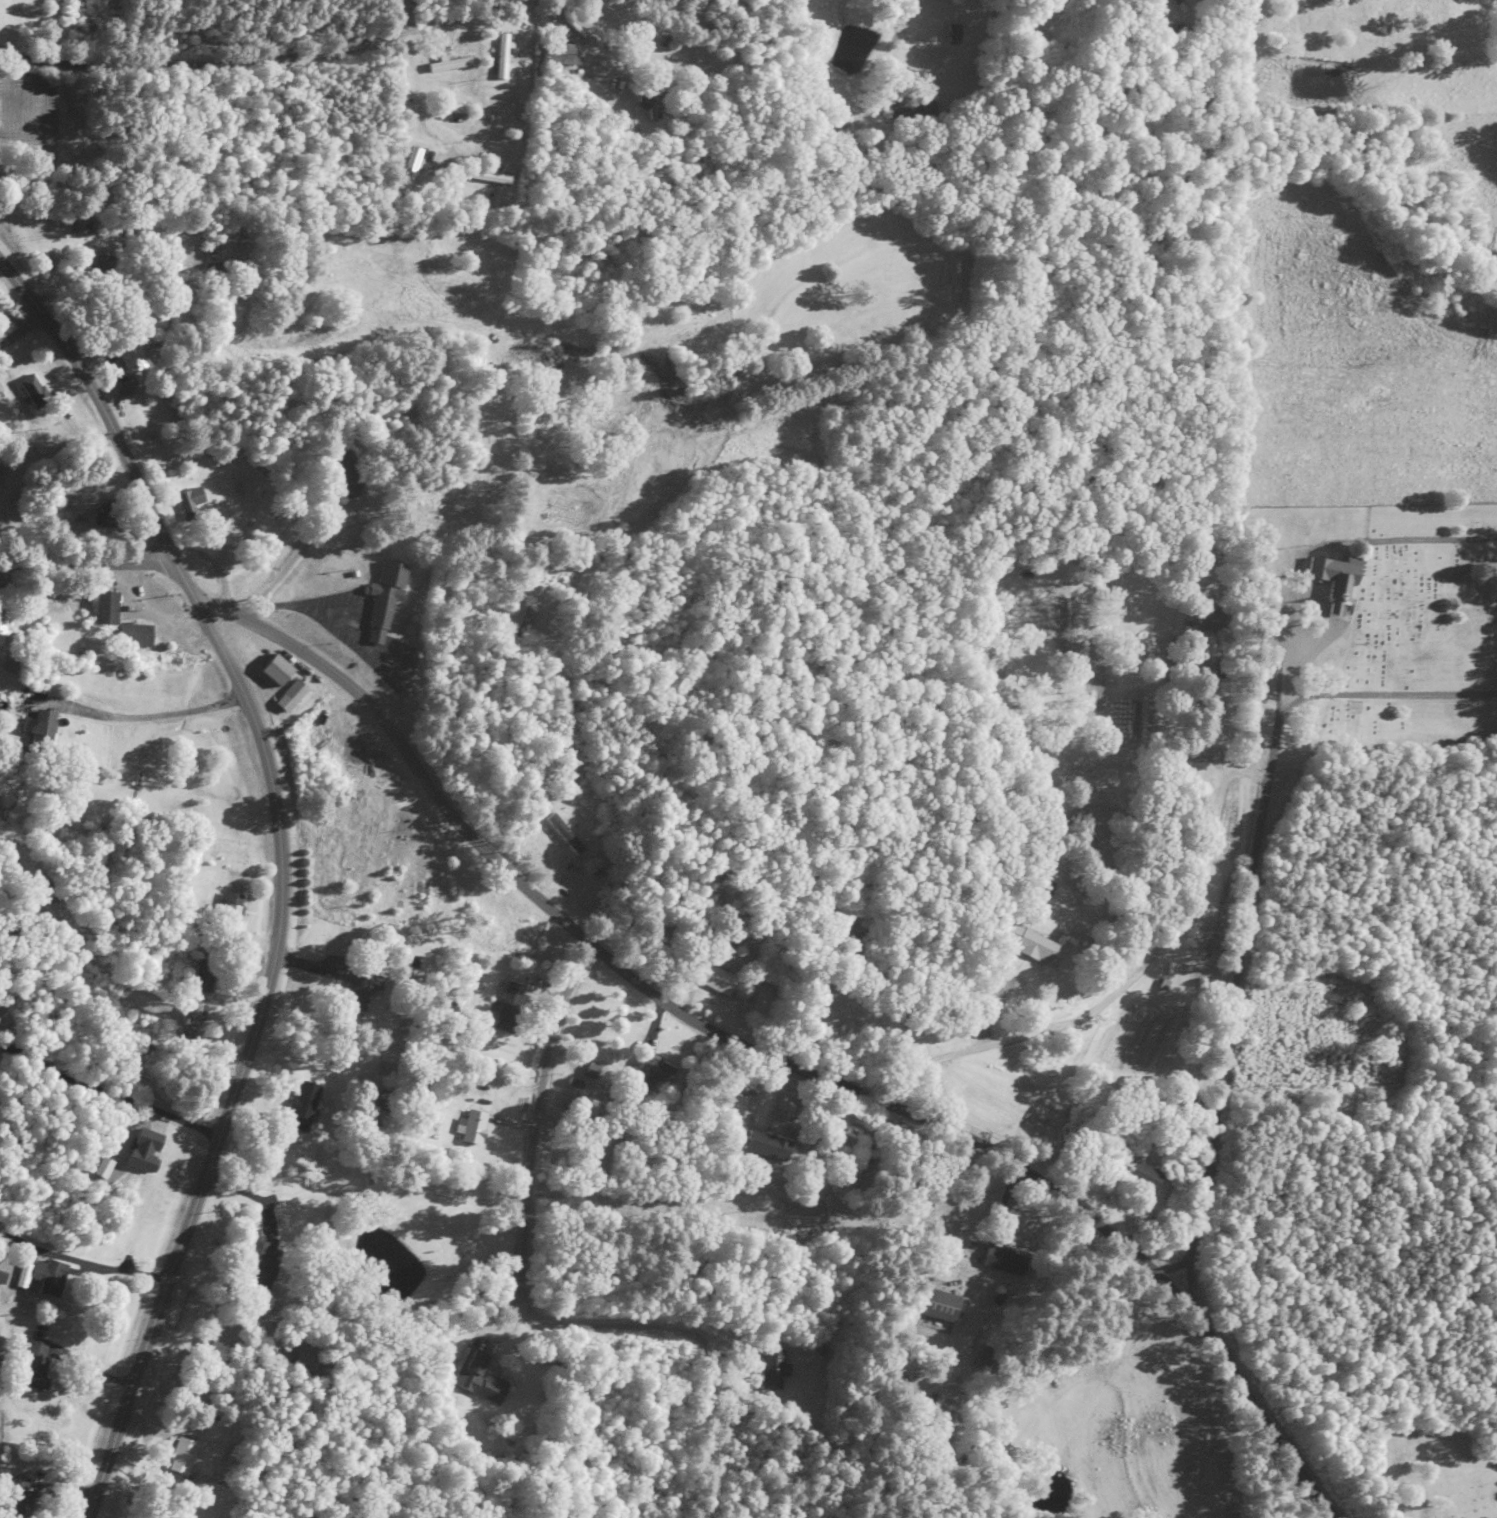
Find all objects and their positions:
road: (748, 49)
building: (562, 56)
building: (449, 73)
building: (651, 107)
building: (87, 226)
building: (105, 270)
building: (216, 274)
building: (133, 360)
building: (34, 392)
road: (101, 411)
building: (349, 475)
building: (193, 505)
building: (110, 516)
road: (84, 551)
building: (588, 580)
building: (1337, 580)
building: (385, 597)
building: (107, 609)
road: (706, 621)
road: (720, 624)
building: (137, 636)
building: (279, 671)
building: (296, 691)
building: (44, 724)
road: (559, 789)
road: (60, 810)
building: (570, 829)
building: (593, 871)
road: (1496, 887)
road: (1107, 889)
building: (435, 895)
building: (235, 909)
road: (1219, 924)
building: (1031, 945)
building: (717, 980)
building: (202, 983)
building: (360, 990)
building: (511, 1009)
building: (191, 1018)
road: (776, 1035)
building: (304, 1107)
building: (728, 1114)
building: (475, 1129)
building: (770, 1147)
building: (1147, 1176)
road: (1164, 1239)
building: (1006, 1262)
building: (265, 1270)
road: (689, 1274)
building: (47, 1278)
building: (944, 1307)
building: (304, 1360)
building: (35, 1364)
building: (774, 1370)
building: (483, 1386)
building: (183, 1457)
road: (1428, 1495)

